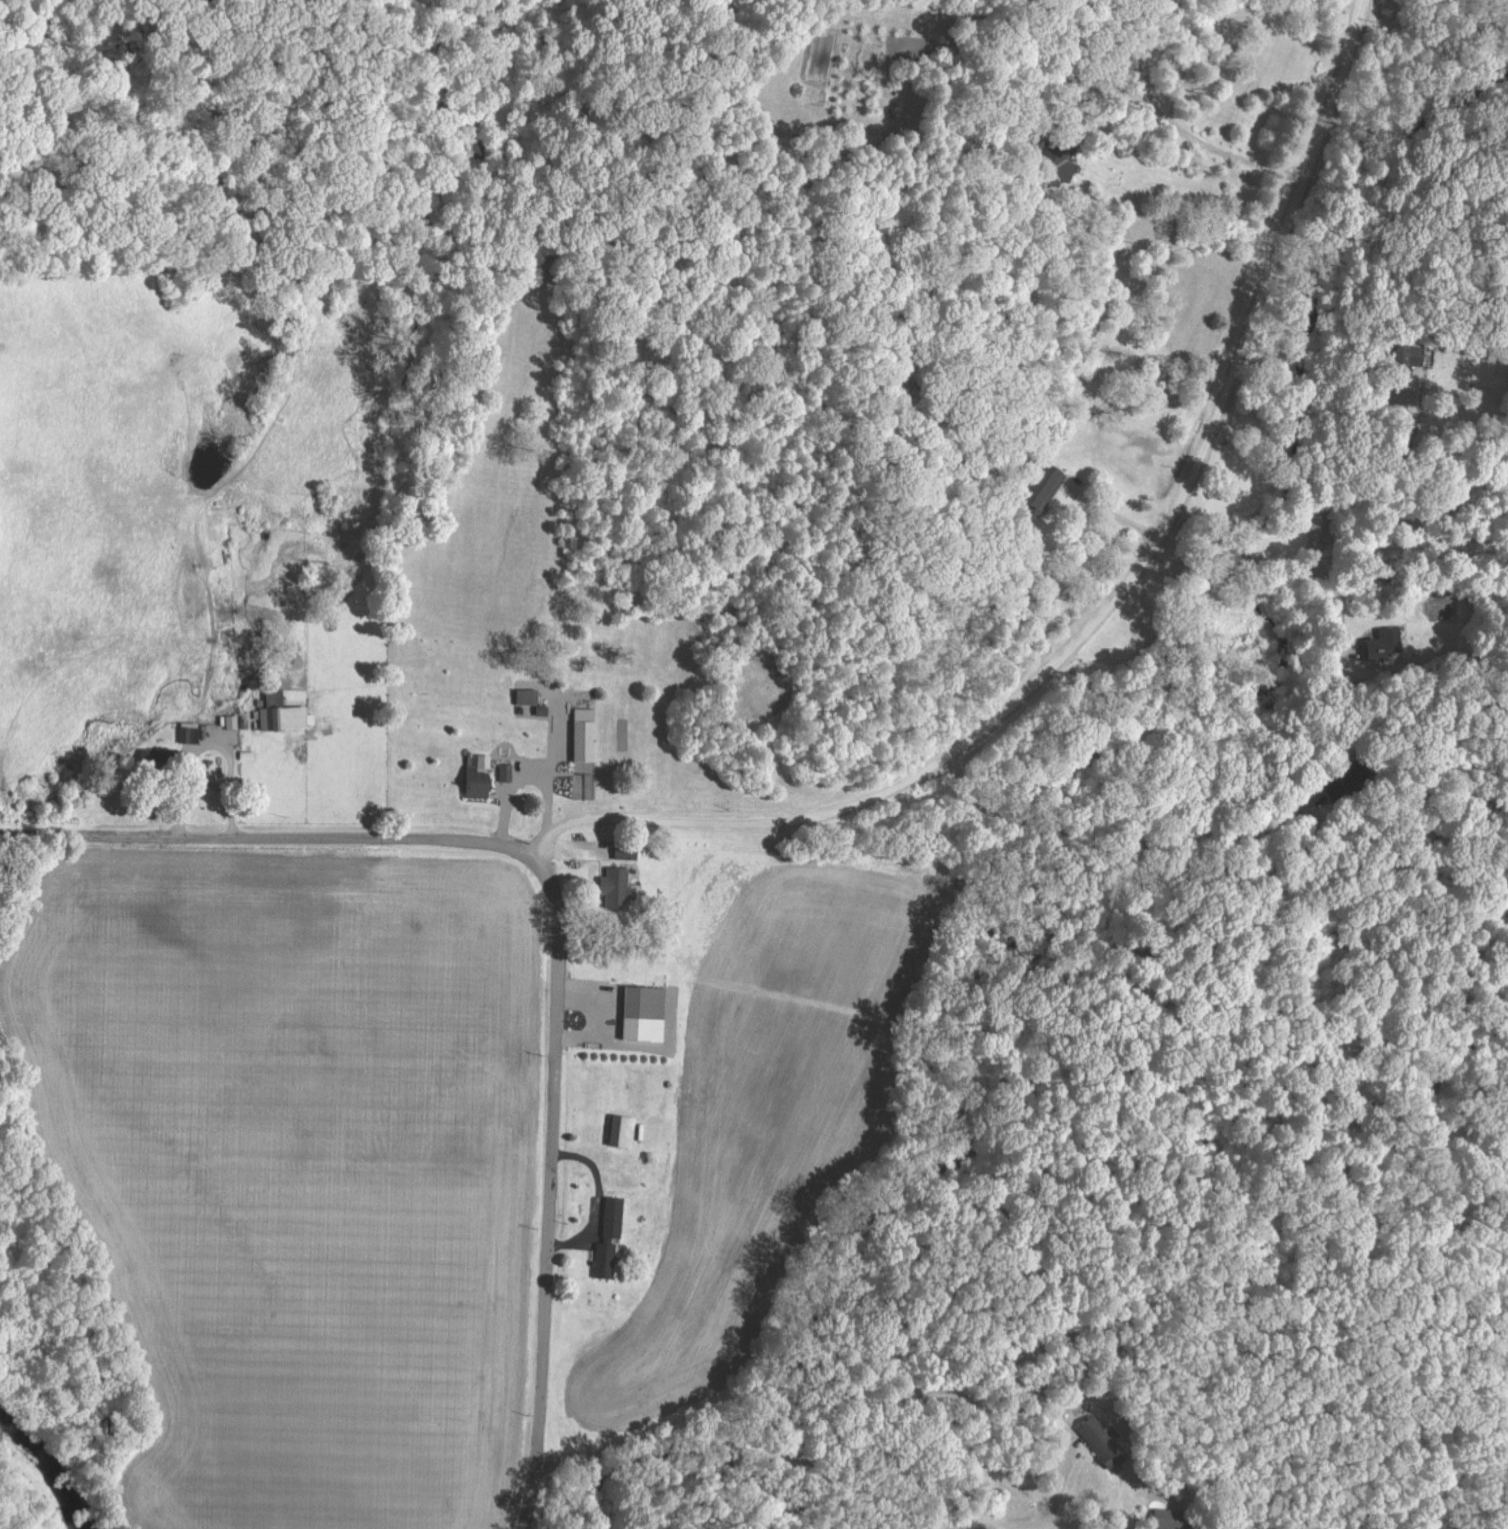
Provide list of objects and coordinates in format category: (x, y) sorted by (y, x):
road: (1272, 562)
road: (1109, 607)
building: (529, 696)
building: (296, 717)
building: (233, 721)
building: (190, 734)
building: (587, 734)
building: (480, 783)
road: (266, 839)
building: (625, 850)
building: (620, 888)
building: (624, 1131)
road: (549, 1189)
building: (612, 1238)
road: (971, 1404)
building: (1095, 1432)
road: (797, 1466)

